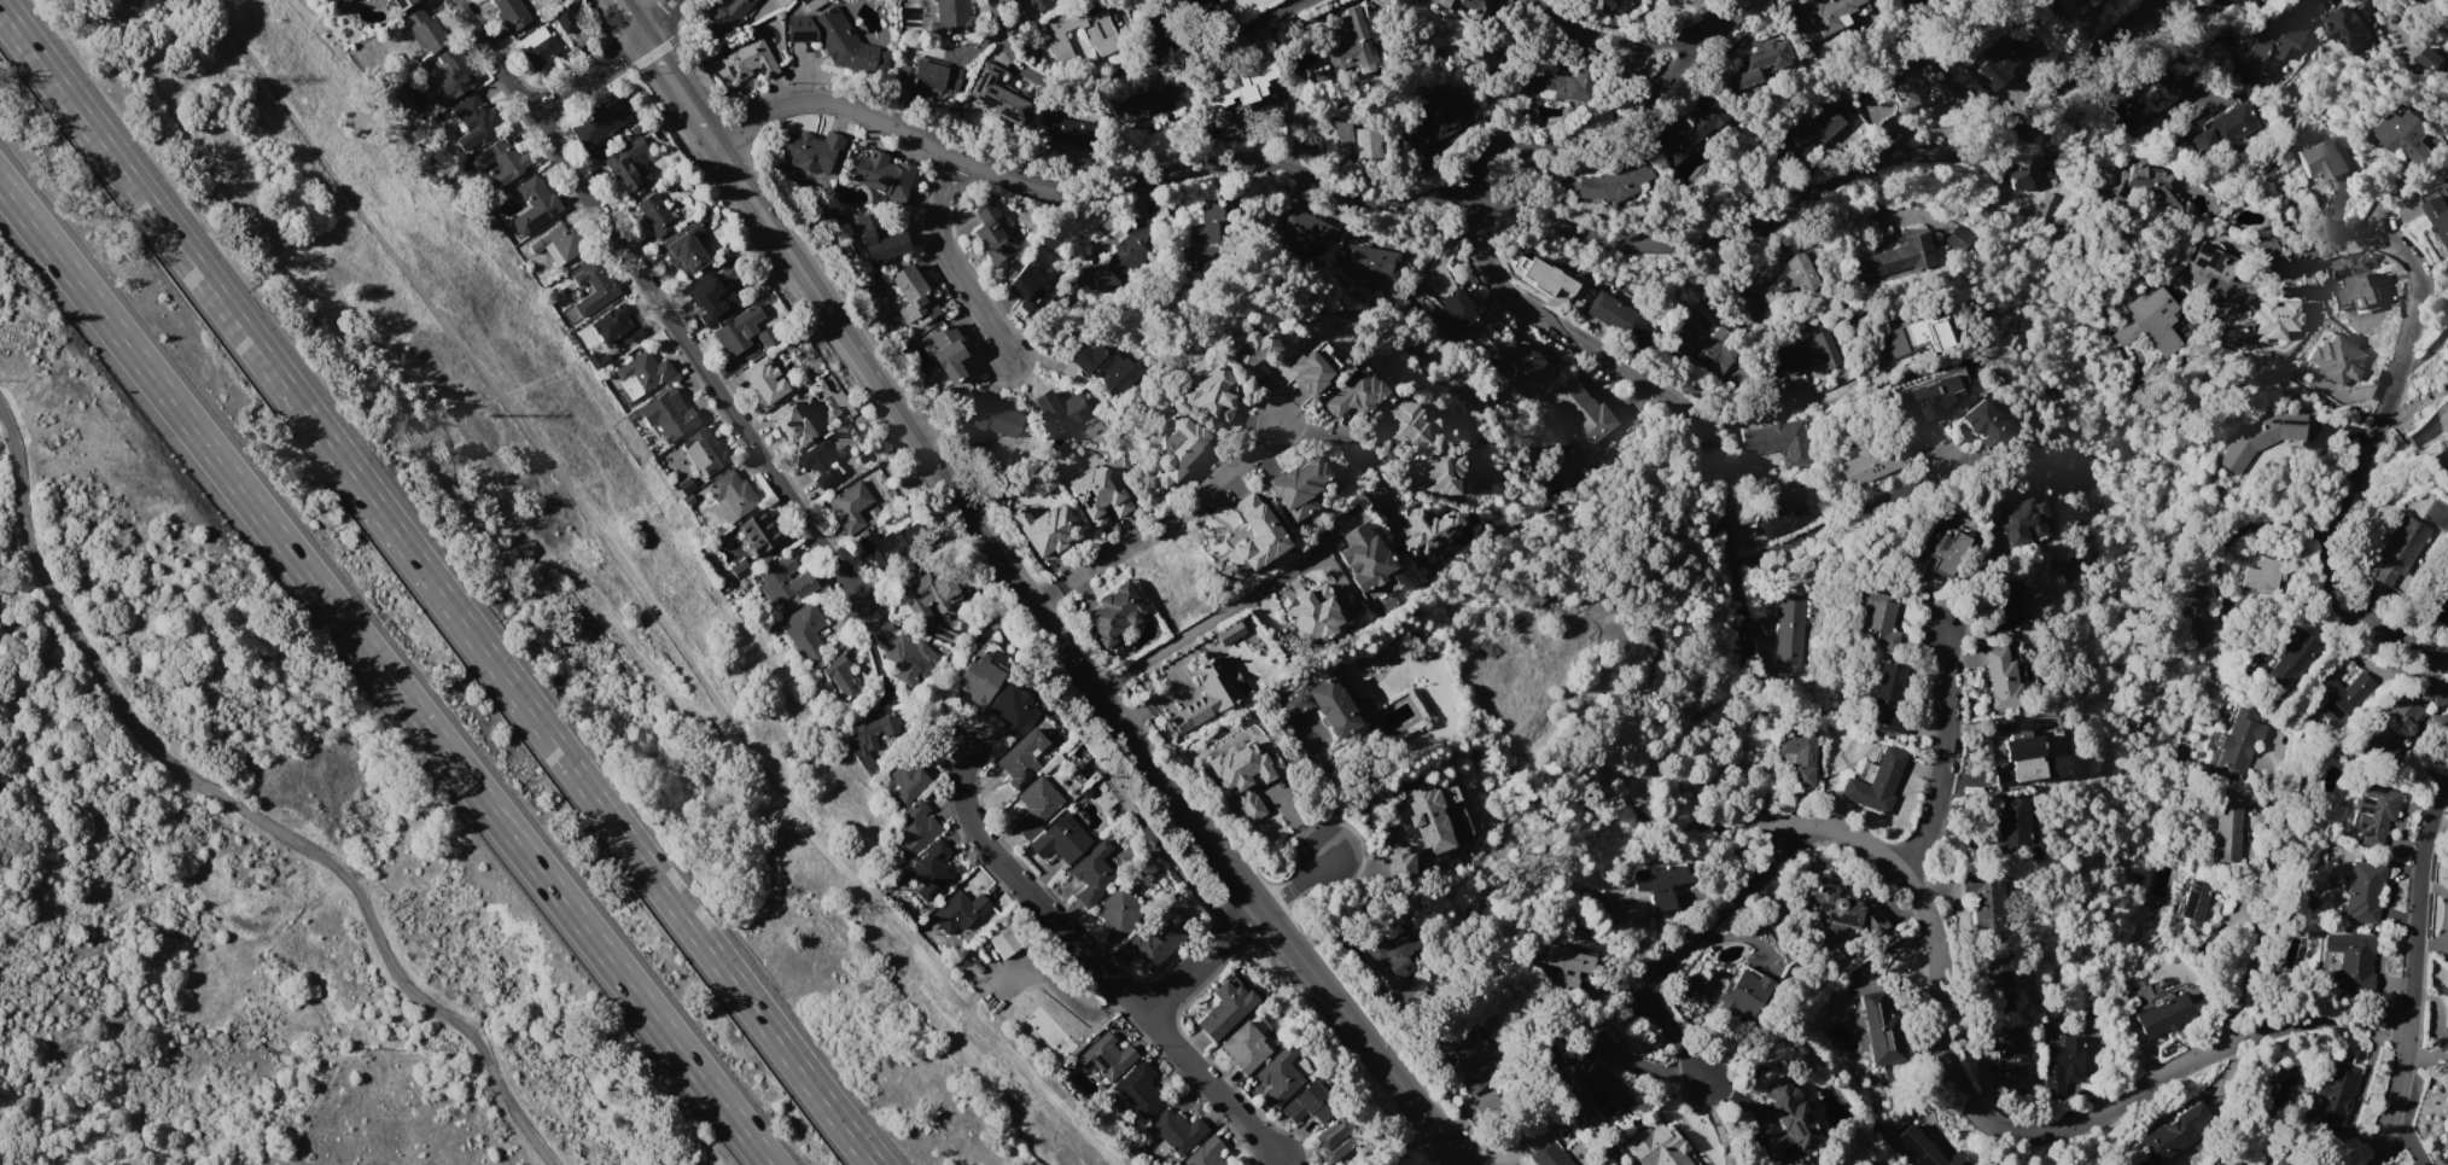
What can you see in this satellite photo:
building: (1657, 0)
building: (2238, 1)
building: (2425, 1)
building: (400, 4)
building: (1041, 4)
building: (1465, 5)
building: (2058, 8)
building: (729, 12)
building: (511, 13)
building: (1829, 13)
building: (951, 17)
road: (630, 18)
building: (565, 19)
road: (2389, 23)
road: (1155, 24)
road: (1235, 24)
building: (2349, 27)
building: (425, 31)
building: (1048, 39)
building: (1356, 40)
building: (837, 41)
road: (1614, 41)
building: (2272, 42)
building: (536, 47)
road: (613, 59)
building: (2430, 59)
building: (748, 60)
road: (658, 62)
building: (1754, 64)
building: (1999, 64)
building: (2447, 66)
building: (454, 74)
building: (927, 76)
power tower: (221, 77)
road: (1061, 78)
building: (1554, 82)
building: (1240, 85)
building: (1916, 87)
building: (995, 93)
road: (678, 97)
building: (1150, 98)
building: (2146, 105)
road: (1616, 117)
building: (474, 120)
building: (1432, 123)
building: (602, 124)
road: (695, 126)
building: (1686, 128)
building: (1061, 129)
building: (1815, 130)
building: (2222, 130)
building: (2402, 135)
building: (1334, 139)
building: (1365, 142)
building: (811, 151)
building: (2321, 158)
building: (501, 163)
building: (628, 170)
building: (882, 173)
road: (1838, 176)
building: (2017, 176)
building: (1615, 180)
building: (2155, 186)
road: (1082, 192)
building: (534, 204)
building: (2046, 210)
building: (657, 215)
building: (2440, 216)
building: (1305, 227)
building: (991, 235)
building: (1201, 235)
building: (876, 238)
building: (558, 239)
building: (1958, 239)
building: (684, 252)
building: (1118, 256)
building: (1898, 258)
building: (1370, 264)
building: (2208, 267)
road: (956, 270)
building: (1539, 274)
building: (1793, 276)
building: (1024, 282)
building: (594, 287)
building: (913, 297)
road: (666, 302)
building: (704, 302)
building: (1453, 313)
building: (2272, 319)
building: (1620, 320)
building: (620, 322)
building: (2150, 322)
building: (746, 332)
building: (1918, 336)
road: (2429, 346)
building: (1708, 348)
building: (1243, 350)
building: (1809, 354)
building: (946, 355)
building: (2333, 359)
building: (1521, 366)
building: (1306, 367)
building: (1107, 368)
building: (643, 374)
road: (870, 374)
road: (2400, 385)
building: (770, 386)
building: (1350, 394)
road: (1835, 394)
building: (1205, 395)
building: (1925, 398)
road: (1662, 400)
building: (2447, 406)
building: (1060, 410)
building: (671, 412)
building: (1581, 413)
power tower: (479, 414)
building: (995, 418)
building: (1987, 424)
building: (1399, 425)
building: (793, 429)
building: (2260, 437)
building: (1779, 442)
building: (1173, 448)
building: (712, 453)
road: (1354, 454)
building: (1870, 464)
building: (822, 465)
building: (1434, 474)
building: (686, 485)
building: (1296, 487)
building: (1097, 494)
building: (733, 496)
building: (688, 501)
building: (851, 507)
road: (1844, 518)
building: (1784, 519)
building: (2019, 520)
road: (1167, 525)
road: (2246, 526)
building: (1045, 529)
building: (1426, 530)
building: (762, 534)
building: (1253, 535)
building: (887, 548)
building: (1941, 549)
building: (2400, 549)
building: (1368, 563)
building: (738, 572)
building: (2263, 575)
building: (785, 584)
building: (2447, 588)
road: (436, 589)
building: (932, 598)
building: (2001, 607)
building: (1114, 614)
building: (2197, 614)
road: (1220, 616)
building: (1313, 616)
building: (1878, 618)
building: (804, 628)
building: (1791, 629)
building: (1229, 633)
building: (2289, 660)
building: (914, 662)
road: (385, 674)
building: (840, 674)
building: (2005, 676)
building: (983, 680)
building: (1207, 694)
building: (2341, 697)
building: (1889, 699)
building: (1327, 704)
building: (1015, 707)
building: (2405, 717)
building: (872, 739)
building: (2239, 740)
building: (2029, 752)
building: (1800, 753)
building: (1027, 757)
road: (1942, 757)
building: (1243, 776)
building: (913, 777)
building: (1875, 781)
road: (1329, 788)
road: (235, 803)
building: (1043, 805)
building: (2373, 817)
building: (2013, 822)
building: (1429, 826)
building: (916, 829)
building: (2227, 833)
building: (1072, 839)
building: (938, 869)
building: (1098, 869)
road: (1296, 879)
building: (1659, 884)
road: (1249, 887)
building: (2362, 893)
building: (2195, 902)
power tower: (856, 904)
building: (1986, 904)
building: (1840, 910)
building: (967, 913)
building: (1123, 913)
road: (2215, 939)
building: (1012, 942)
building: (1001, 943)
building: (1158, 945)
road: (1673, 951)
building: (1393, 956)
road: (1098, 959)
road: (1207, 960)
building: (2349, 962)
building: (1567, 965)
road: (2417, 971)
building: (1998, 978)
building: (2139, 991)
building: (1743, 994)
building: (1232, 1009)
building: (2162, 1013)
building: (1881, 1029)
building: (2447, 1044)
building: (1252, 1048)
building: (1114, 1056)
building: (2010, 1056)
building: (1468, 1059)
building: (2063, 1064)
building: (1593, 1073)
building: (1286, 1076)
building: (2336, 1088)
building: (1147, 1089)
building: (1318, 1102)
road: (1988, 1114)
building: (1789, 1119)
building: (1184, 1130)
building: (1341, 1131)
building: (2169, 1135)
building: (1657, 1147)
building: (1925, 1148)
building: (1212, 1153)
building: (1548, 1155)
building: (2280, 1163)

